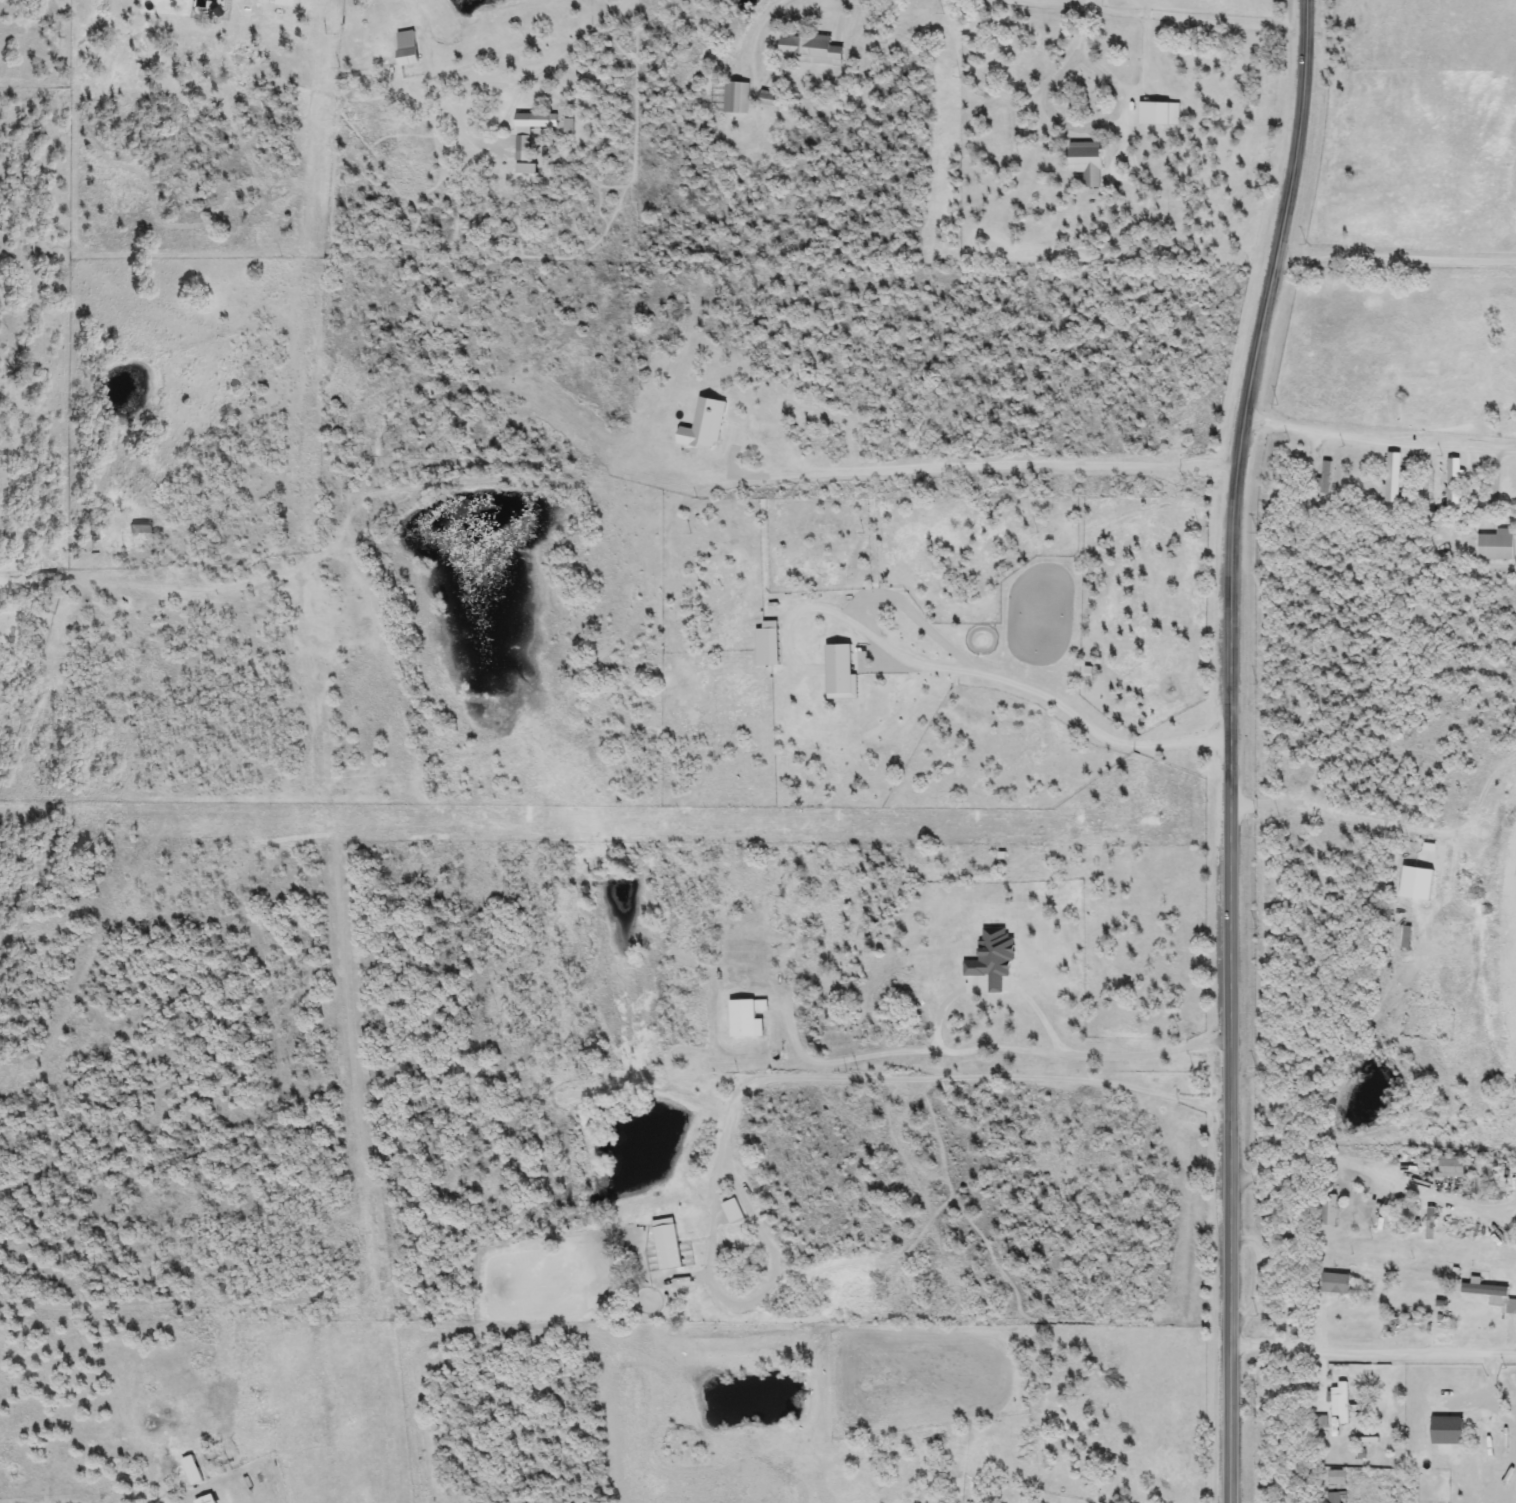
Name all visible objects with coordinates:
road: (844, 14)
road: (1083, 31)
building: (405, 48)
building: (807, 48)
road: (564, 55)
building: (735, 98)
building: (1155, 113)
building: (528, 129)
road: (1088, 134)
building: (1086, 162)
road: (1395, 259)
road: (1379, 440)
road: (985, 464)
building: (1324, 477)
building: (1392, 478)
building: (1452, 483)
building: (1427, 484)
building: (1494, 545)
road: (1057, 703)
road: (1227, 748)
building: (1330, 826)
building: (1404, 937)
road: (942, 1007)
road: (1040, 1014)
building: (743, 1019)
road: (1369, 1050)
road: (989, 1051)
road: (771, 1078)
building: (1451, 1167)
road: (1370, 1173)
building: (1327, 1210)
building: (1429, 1223)
building: (1334, 1283)
building: (1492, 1295)
road: (1370, 1350)
building: (1339, 1403)
building: (1464, 1410)
building: (1363, 1448)
building: (1337, 1478)
building: (1335, 1497)
building: (205, 1499)

